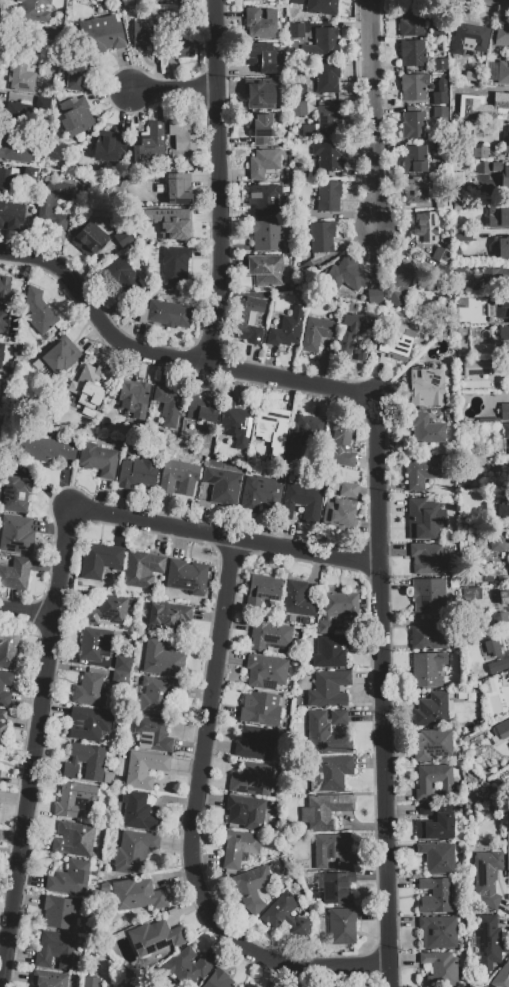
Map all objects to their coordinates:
building: (266, 0)
building: (179, 1)
building: (296, 2)
building: (321, 7)
building: (34, 11)
building: (410, 23)
building: (259, 24)
building: (296, 30)
building: (102, 32)
building: (50, 35)
building: (145, 35)
building: (501, 36)
building: (470, 41)
building: (27, 44)
building: (321, 45)
building: (180, 46)
building: (412, 52)
building: (261, 56)
building: (77, 71)
building: (503, 72)
building: (21, 77)
building: (327, 77)
building: (472, 79)
building: (413, 86)
road: (175, 90)
building: (300, 91)
building: (263, 92)
building: (440, 101)
building: (486, 107)
building: (298, 109)
building: (14, 110)
building: (438, 111)
road: (375, 116)
building: (74, 117)
building: (327, 120)
building: (413, 124)
building: (260, 129)
building: (182, 140)
building: (507, 140)
building: (150, 145)
building: (109, 146)
building: (12, 150)
building: (480, 155)
building: (329, 156)
building: (414, 159)
building: (263, 163)
building: (300, 170)
building: (496, 170)
building: (31, 175)
building: (482, 176)
building: (504, 178)
road: (219, 182)
building: (9, 185)
building: (178, 189)
building: (415, 189)
building: (328, 196)
building: (265, 198)
building: (56, 200)
building: (300, 211)
building: (498, 216)
building: (9, 218)
building: (169, 223)
building: (60, 224)
building: (426, 227)
building: (268, 234)
building: (462, 236)
building: (322, 237)
building: (125, 239)
building: (92, 241)
building: (503, 248)
building: (439, 255)
building: (174, 269)
building: (266, 269)
building: (304, 269)
building: (462, 269)
building: (347, 276)
building: (495, 278)
building: (400, 282)
building: (127, 283)
building: (5, 287)
building: (376, 298)
building: (501, 307)
building: (37, 310)
building: (169, 313)
building: (246, 318)
building: (4, 319)
building: (285, 330)
building: (316, 333)
building: (504, 334)
building: (351, 337)
building: (396, 343)
building: (1, 353)
road: (171, 356)
building: (56, 357)
building: (475, 367)
building: (90, 387)
building: (428, 389)
building: (132, 399)
building: (167, 406)
building: (203, 409)
building: (504, 411)
building: (235, 424)
building: (271, 427)
building: (428, 429)
building: (301, 433)
building: (505, 437)
building: (342, 443)
building: (46, 449)
building: (98, 459)
building: (421, 472)
building: (137, 473)
building: (176, 474)
building: (222, 485)
building: (348, 489)
building: (15, 494)
building: (259, 494)
building: (304, 500)
building: (461, 513)
building: (503, 513)
building: (339, 514)
building: (425, 519)
building: (16, 534)
building: (497, 545)
building: (429, 558)
building: (100, 560)
building: (141, 569)
building: (15, 573)
building: (186, 576)
building: (467, 578)
building: (453, 582)
building: (263, 589)
road: (59, 593)
building: (471, 593)
building: (429, 595)
building: (505, 596)
building: (297, 603)
building: (337, 608)
building: (107, 611)
road: (26, 615)
building: (169, 616)
building: (498, 618)
building: (269, 634)
building: (430, 634)
building: (95, 644)
building: (492, 648)
building: (8, 649)
building: (331, 650)
building: (162, 659)
building: (123, 663)
building: (498, 665)
building: (427, 669)
building: (265, 672)
building: (508, 674)
building: (120, 678)
building: (1, 688)
building: (329, 688)
building: (90, 690)
road: (384, 691)
building: (156, 693)
building: (261, 708)
building: (432, 710)
building: (3, 714)
building: (339, 719)
building: (88, 723)
building: (502, 730)
building: (154, 732)
building: (2, 733)
building: (325, 735)
building: (256, 742)
building: (433, 744)
building: (87, 763)
building: (144, 768)
building: (329, 772)
building: (251, 779)
building: (433, 780)
building: (75, 799)
building: (139, 812)
building: (246, 812)
building: (324, 812)
road: (200, 817)
building: (436, 827)
building: (74, 838)
building: (238, 847)
building: (133, 851)
building: (333, 851)
building: (437, 857)
building: (507, 857)
building: (486, 877)
building: (69, 878)
building: (251, 887)
building: (334, 887)
building: (137, 894)
building: (436, 896)
building: (59, 912)
building: (285, 915)
building: (342, 926)
building: (437, 932)
building: (156, 937)
building: (489, 943)
building: (55, 950)
building: (186, 968)
building: (440, 968)
building: (501, 976)
building: (49, 978)
building: (218, 980)
building: (91, 981)
building: (136, 984)
building: (248, 985)

